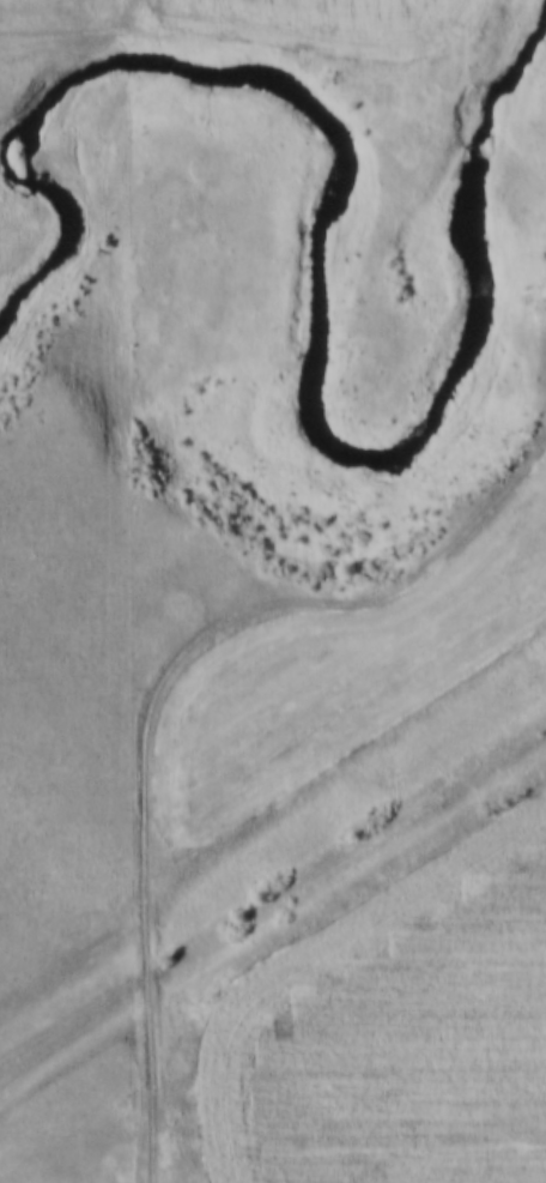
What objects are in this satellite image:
road: (159, 701)
road: (272, 897)

